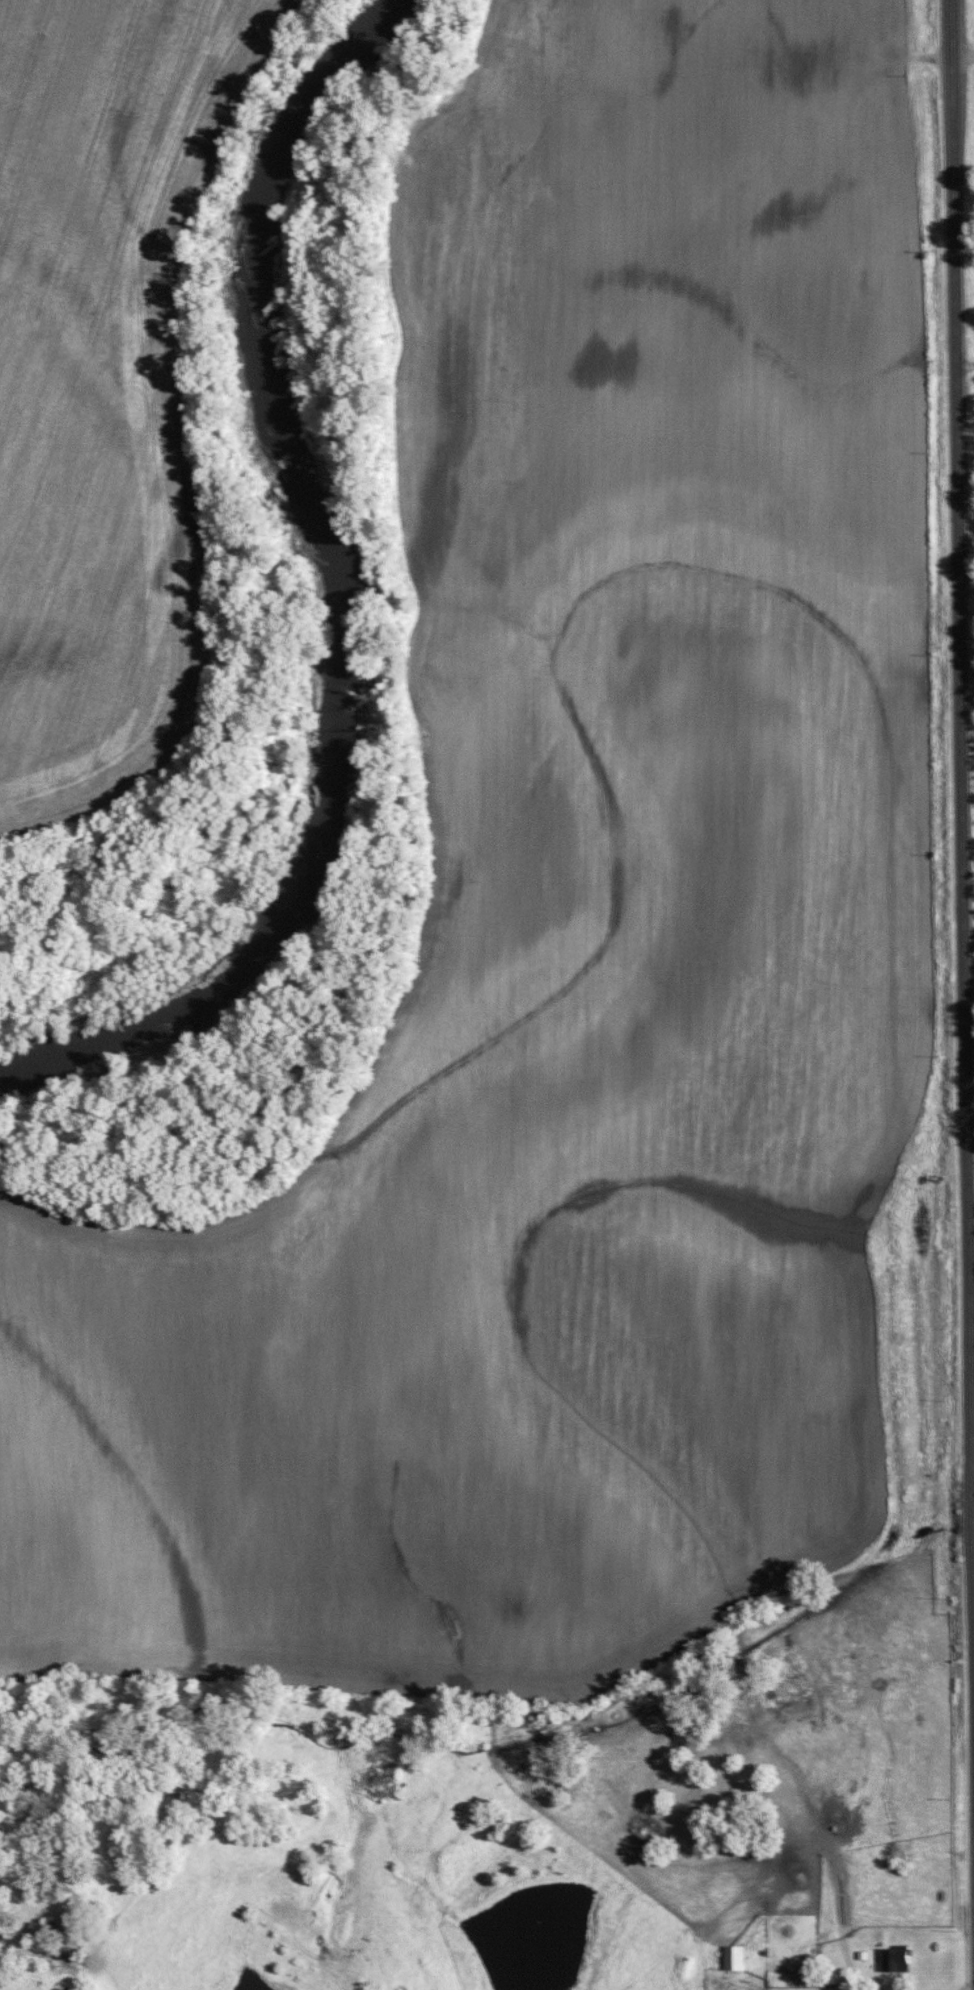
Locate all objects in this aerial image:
crop: (93, 377)
road: (962, 736)
crop: (565, 935)
building: (41, 1933)
building: (733, 1958)
building: (893, 1959)

